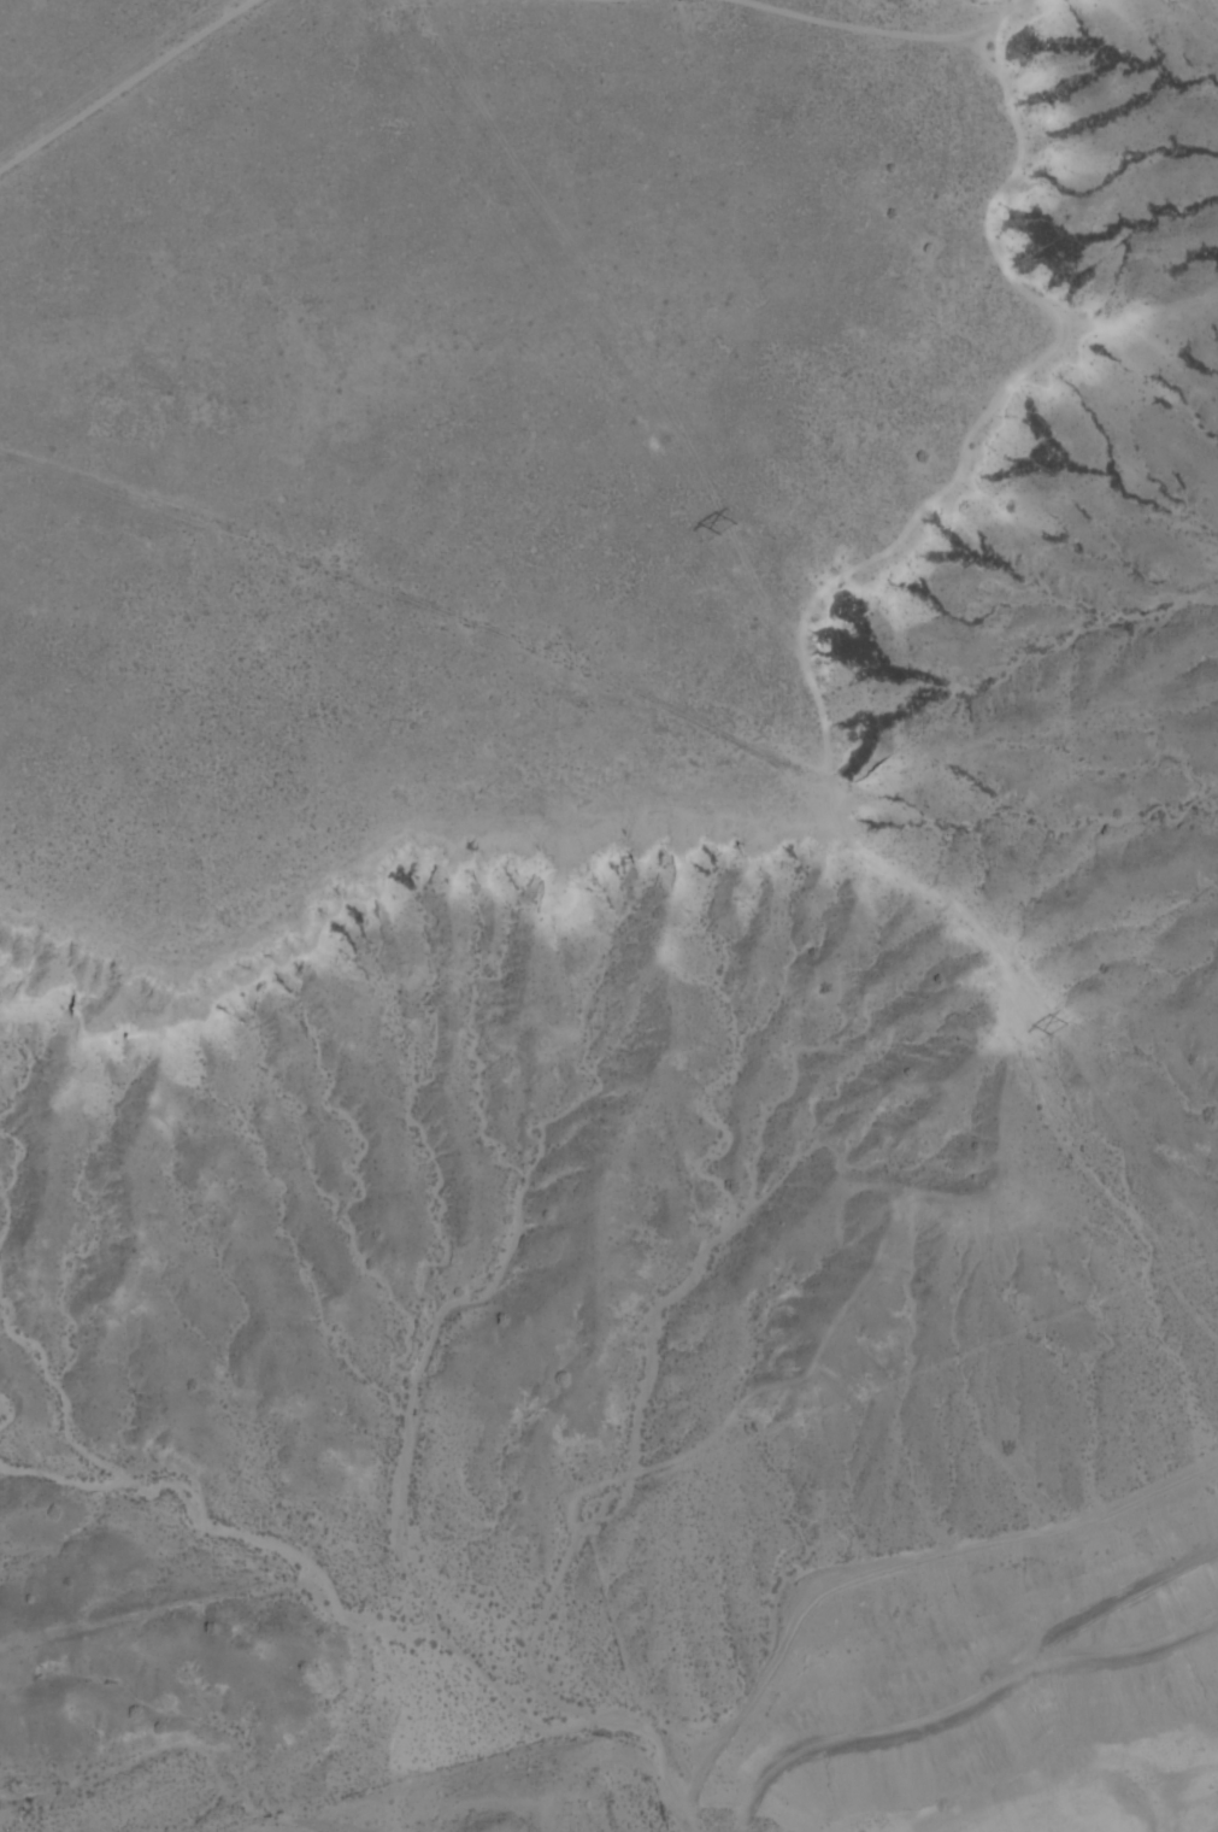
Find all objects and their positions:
power tower: (725, 527)
power tower: (1057, 1026)

